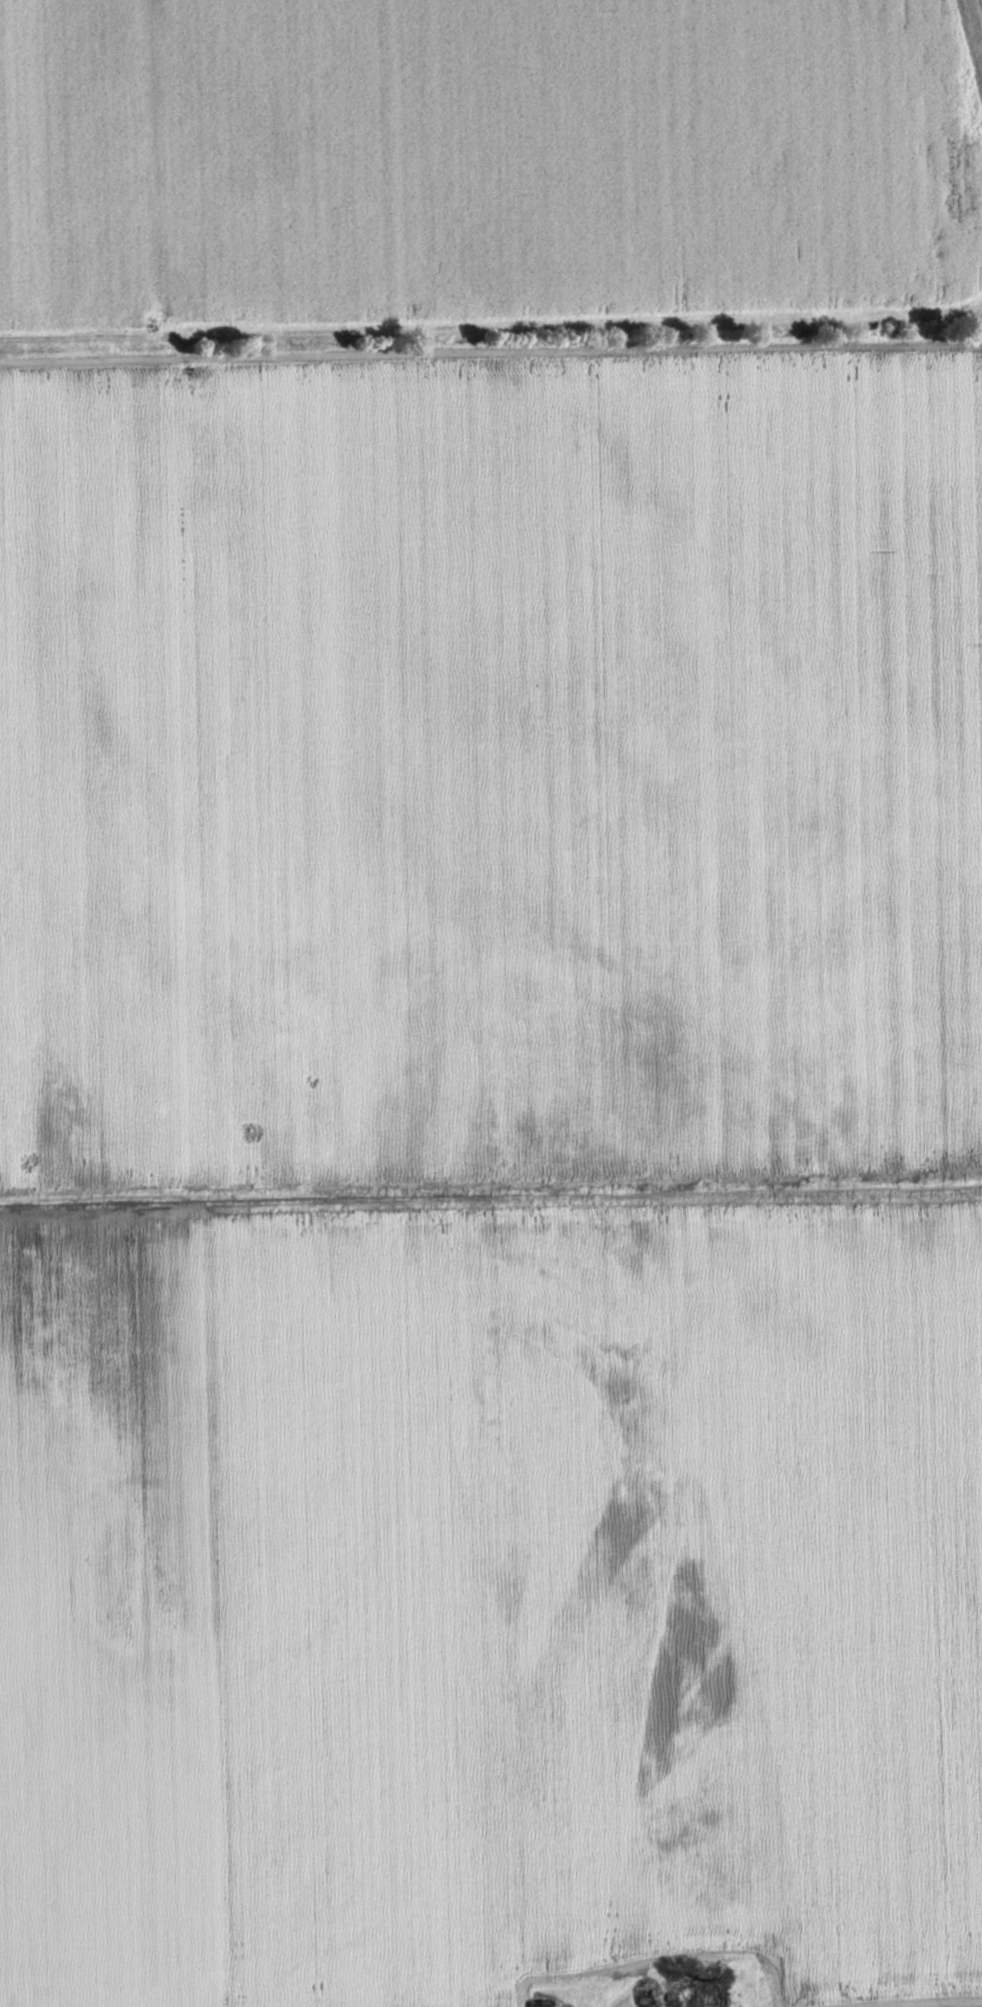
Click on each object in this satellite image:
road: (889, 1995)
building: (542, 2005)

